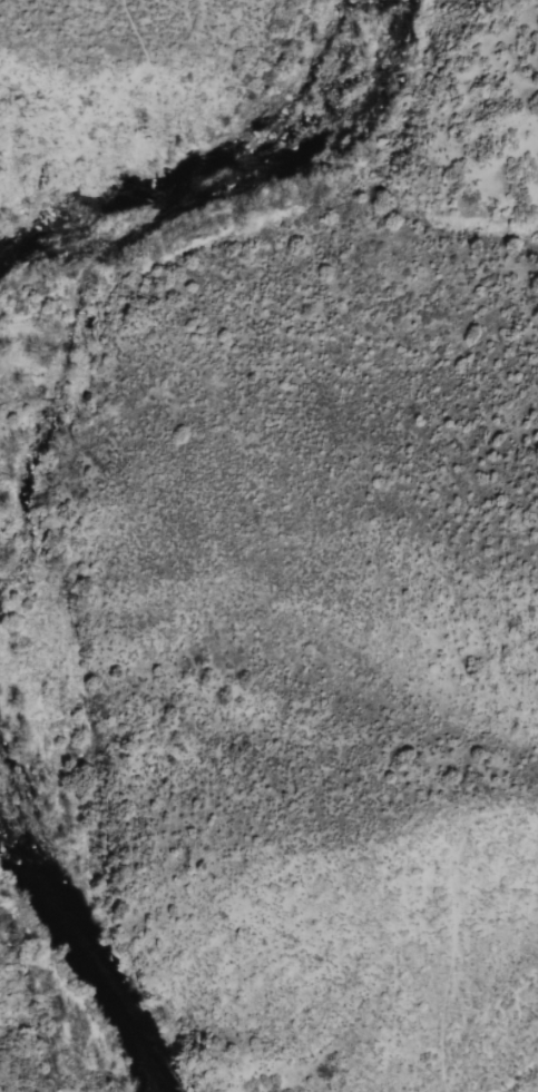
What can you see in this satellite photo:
road: (109, 105)

